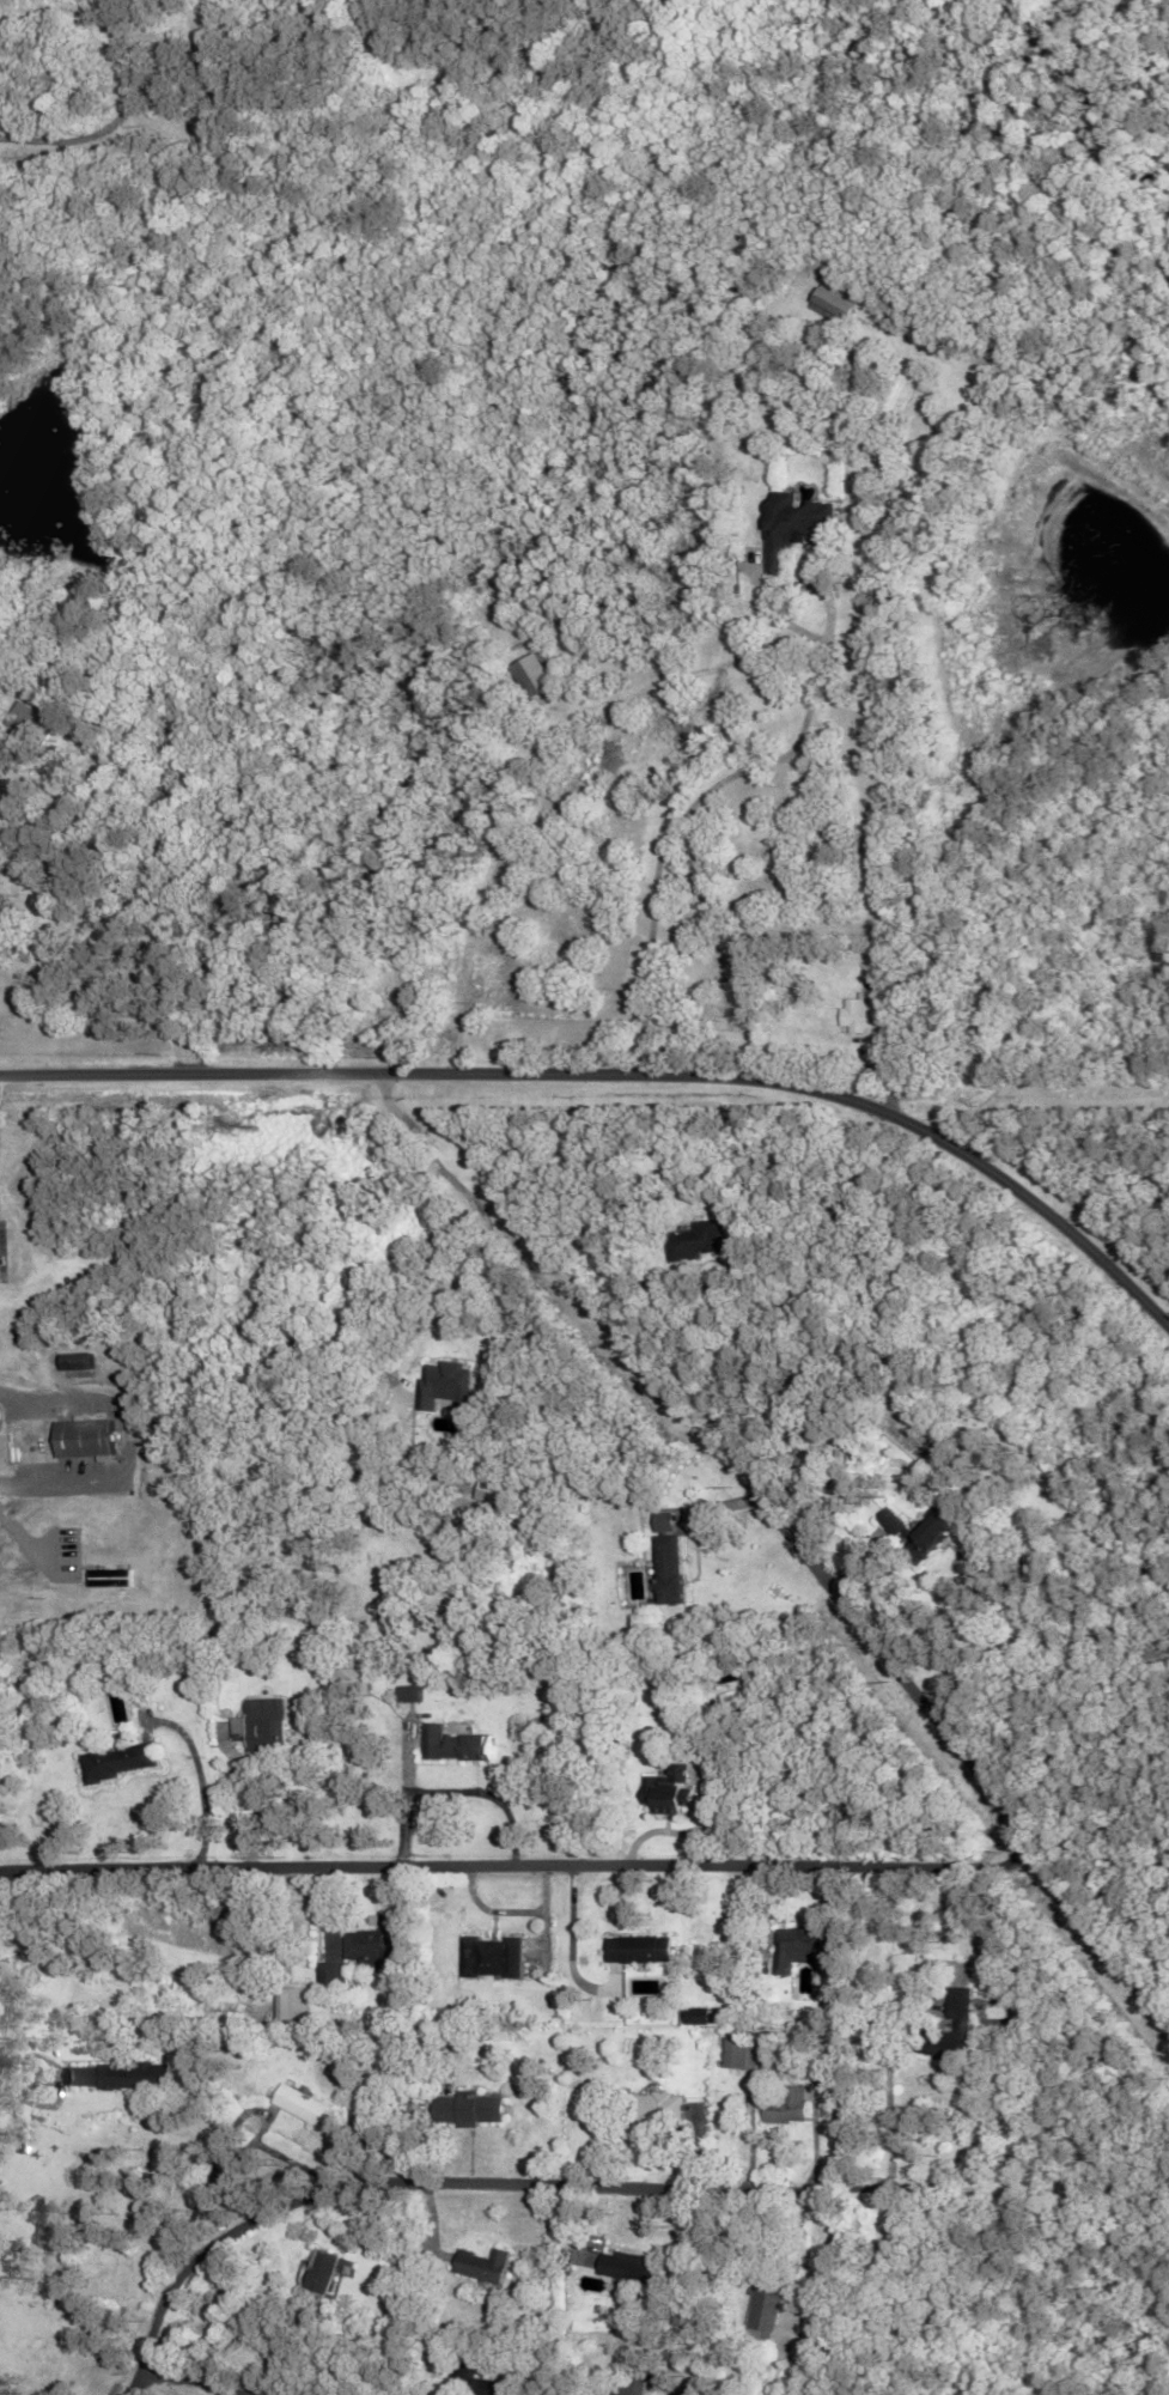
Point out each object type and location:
road: (93, 130)
building: (829, 299)
building: (789, 527)
building: (532, 674)
road: (706, 790)
building: (854, 1013)
road: (625, 1077)
building: (693, 1240)
building: (75, 1361)
building: (443, 1382)
building: (81, 1439)
road: (115, 1441)
building: (493, 1493)
building: (656, 1522)
building: (923, 1532)
building: (658, 1569)
building: (106, 1579)
road: (75, 1594)
building: (406, 1692)
building: (450, 1744)
building: (115, 1761)
road: (449, 1791)
building: (668, 1791)
road: (759, 1870)
road: (503, 1911)
road: (348, 1922)
building: (808, 1944)
building: (366, 1945)
building: (647, 1949)
building: (492, 1956)
building: (988, 1964)
building: (325, 1974)
building: (706, 2014)
building: (963, 2023)
building: (741, 2051)
building: (121, 2074)
road: (887, 2095)
building: (298, 2103)
building: (790, 2105)
building: (469, 2108)
road: (447, 2184)
building: (483, 2265)
building: (633, 2266)
building: (318, 2269)
building: (394, 2293)
building: (632, 2381)
building: (491, 2387)
road: (672, 2387)

